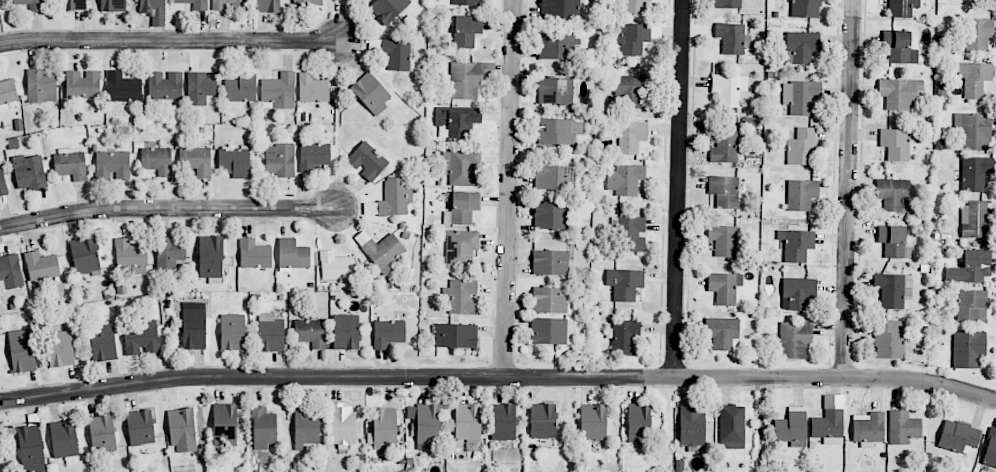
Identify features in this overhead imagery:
building: (336, 0)
building: (975, 0)
building: (465, 2)
building: (307, 3)
building: (31, 4)
building: (195, 4)
building: (727, 4)
building: (75, 5)
building: (113, 5)
building: (229, 5)
building: (268, 6)
building: (635, 6)
building: (805, 8)
building: (902, 8)
building: (152, 9)
building: (388, 9)
building: (559, 9)
building: (466, 31)
building: (978, 34)
building: (732, 38)
building: (634, 39)
road: (172, 40)
building: (556, 47)
building: (801, 47)
building: (899, 47)
building: (396, 54)
building: (975, 78)
building: (468, 79)
building: (82, 84)
building: (41, 86)
building: (165, 86)
building: (123, 88)
building: (200, 88)
building: (241, 88)
building: (728, 88)
building: (312, 89)
building: (279, 90)
building: (555, 91)
building: (630, 92)
building: (7, 93)
building: (371, 93)
building: (899, 93)
building: (800, 97)
building: (456, 121)
building: (558, 131)
building: (973, 131)
building: (631, 137)
building: (895, 144)
building: (723, 145)
building: (802, 147)
building: (313, 156)
building: (195, 160)
building: (280, 160)
building: (235, 161)
building: (367, 161)
building: (70, 164)
building: (112, 164)
building: (461, 166)
building: (29, 172)
building: (975, 173)
building: (552, 178)
building: (625, 179)
building: (2, 182)
road: (509, 189)
road: (679, 190)
road: (850, 190)
building: (724, 191)
building: (801, 194)
building: (893, 195)
building: (396, 196)
road: (166, 207)
building: (461, 207)
building: (550, 216)
building: (974, 220)
building: (630, 232)
building: (723, 240)
building: (893, 242)
building: (796, 244)
building: (460, 248)
building: (170, 252)
building: (384, 253)
building: (253, 254)
building: (84, 255)
building: (292, 255)
building: (131, 256)
building: (210, 258)
building: (550, 263)
building: (41, 266)
building: (335, 266)
building: (970, 268)
building: (10, 272)
building: (624, 283)
building: (724, 287)
building: (893, 289)
building: (798, 293)
building: (463, 297)
building: (549, 300)
building: (971, 306)
building: (193, 326)
building: (551, 331)
building: (232, 332)
building: (345, 332)
building: (721, 332)
building: (271, 333)
building: (311, 333)
building: (388, 333)
building: (456, 336)
building: (626, 338)
building: (141, 339)
building: (794, 339)
building: (889, 339)
building: (103, 344)
building: (60, 349)
building: (968, 349)
building: (22, 351)
road: (498, 377)
building: (542, 421)
building: (830, 421)
building: (467, 422)
building: (503, 422)
building: (593, 422)
building: (638, 422)
building: (224, 425)
building: (342, 425)
building: (425, 425)
building: (691, 426)
building: (791, 426)
building: (305, 427)
building: (731, 427)
building: (867, 427)
building: (903, 427)
building: (140, 428)
building: (263, 428)
building: (182, 429)
building: (383, 429)
building: (102, 433)
building: (958, 437)
building: (64, 439)
building: (31, 448)
building: (990, 449)

